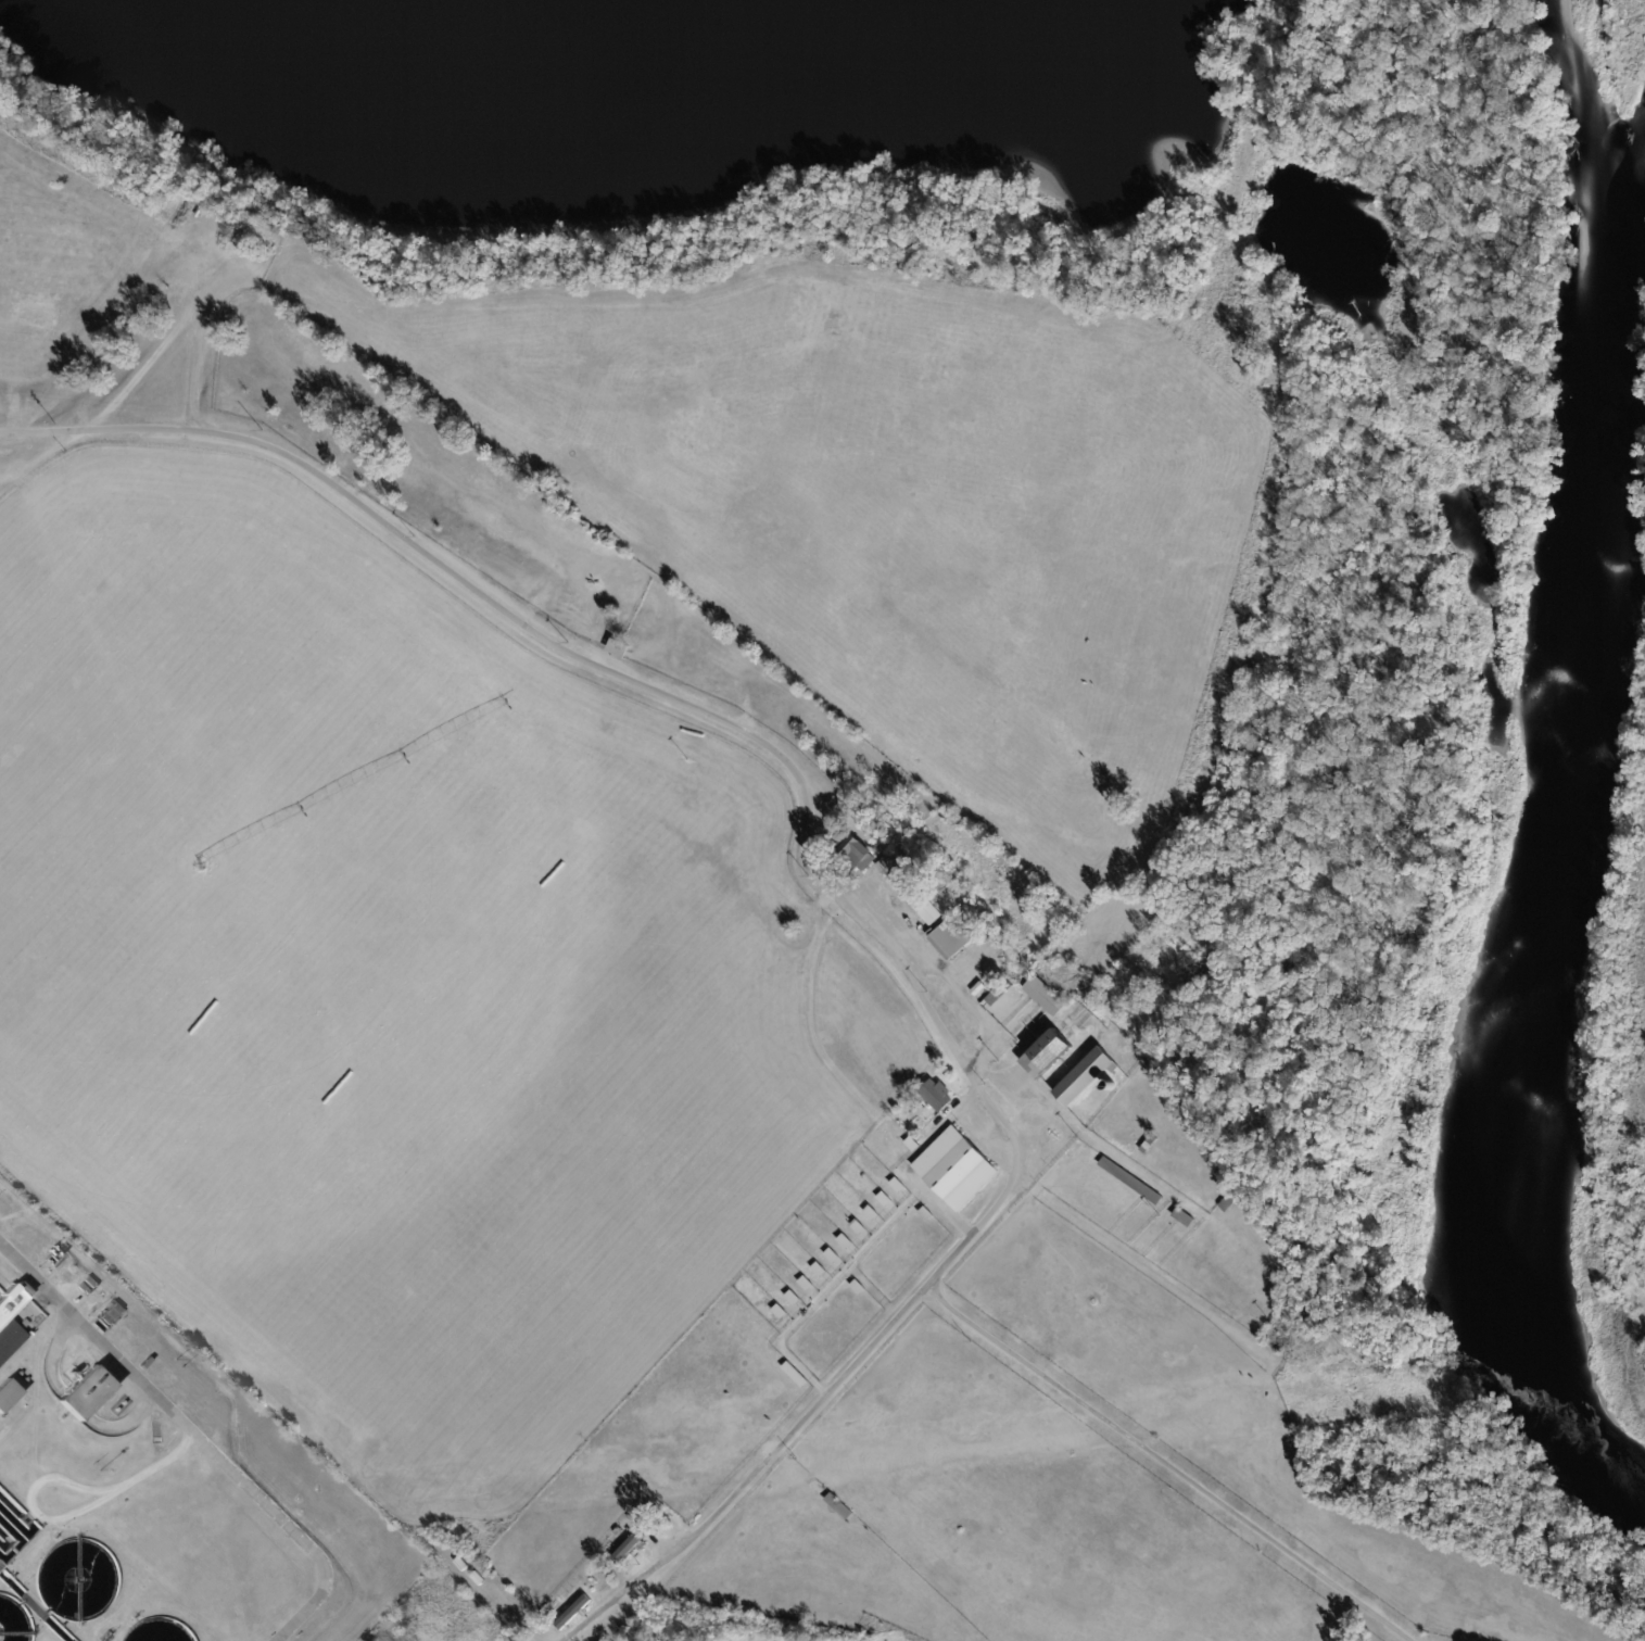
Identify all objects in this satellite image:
crop: (60, 270)
crop: (900, 508)
building: (620, 649)
river: (1551, 825)
road: (809, 826)
building: (882, 835)
building: (857, 853)
building: (897, 876)
building: (926, 908)
building: (797, 927)
building: (953, 941)
crop: (390, 973)
building: (979, 990)
building: (1047, 997)
building: (996, 1000)
road: (972, 1006)
building: (1052, 1050)
building: (1086, 1078)
building: (936, 1097)
building: (913, 1146)
building: (1150, 1146)
building: (957, 1171)
building: (1132, 1182)
building: (899, 1187)
building: (886, 1201)
building: (1228, 1204)
building: (873, 1215)
building: (927, 1216)
building: (1186, 1220)
building: (859, 1229)
building: (846, 1244)
building: (833, 1258)
road: (847, 1266)
building: (820, 1272)
building: (807, 1286)
building: (859, 1289)
building: (794, 1300)
building: (20, 1310)
building: (781, 1314)
building: (797, 1377)
building: (87, 1393)
building: (7, 1394)
road: (195, 1438)
road: (1168, 1465)
wastewater plant: (161, 1476)
building: (840, 1507)
building: (633, 1544)
building: (463, 1565)
building: (605, 1569)
building: (479, 1579)
building: (548, 1611)
building: (575, 1614)

